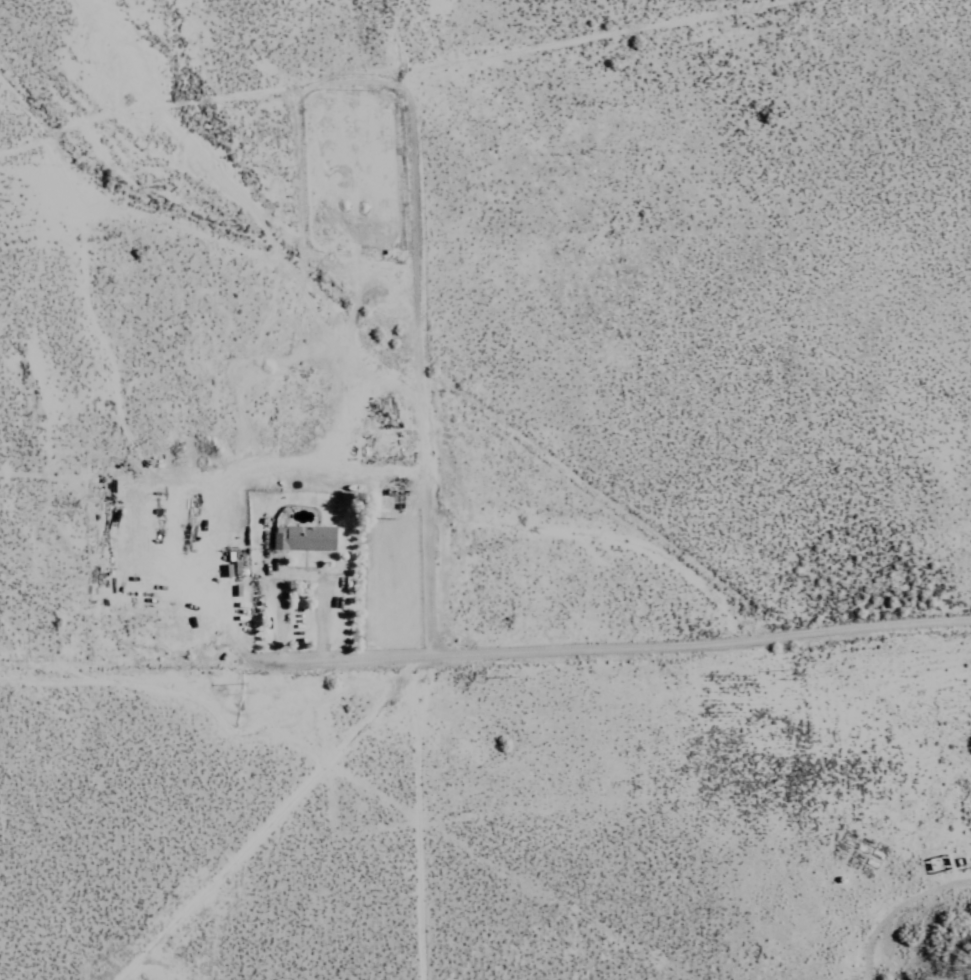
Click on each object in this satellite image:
road: (600, 37)
road: (196, 98)
road: (421, 362)
building: (305, 535)
road: (626, 642)
road: (141, 668)

